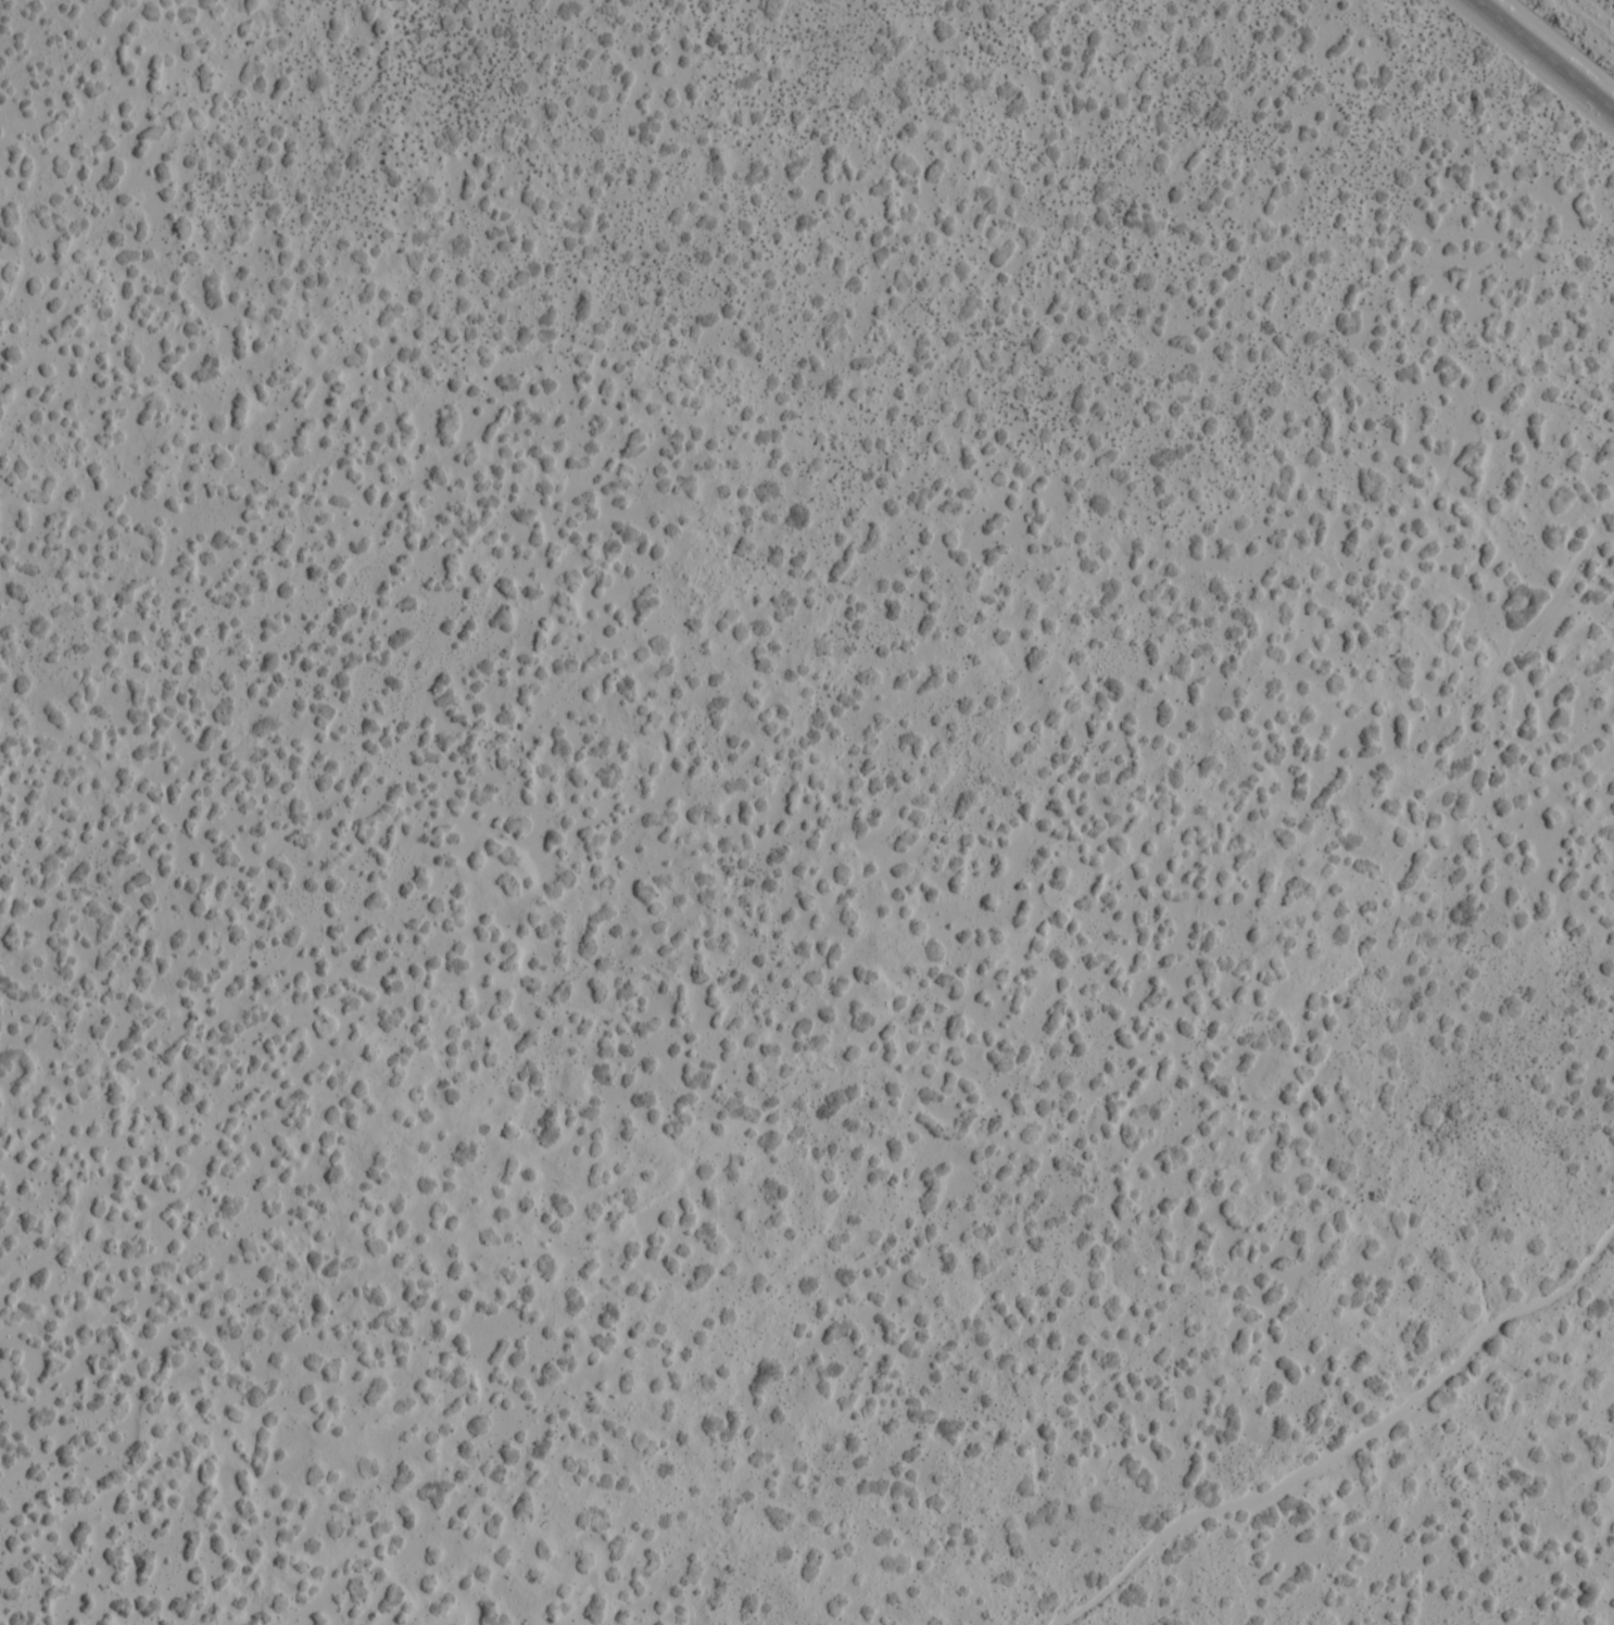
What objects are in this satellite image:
road: (1549, 52)

